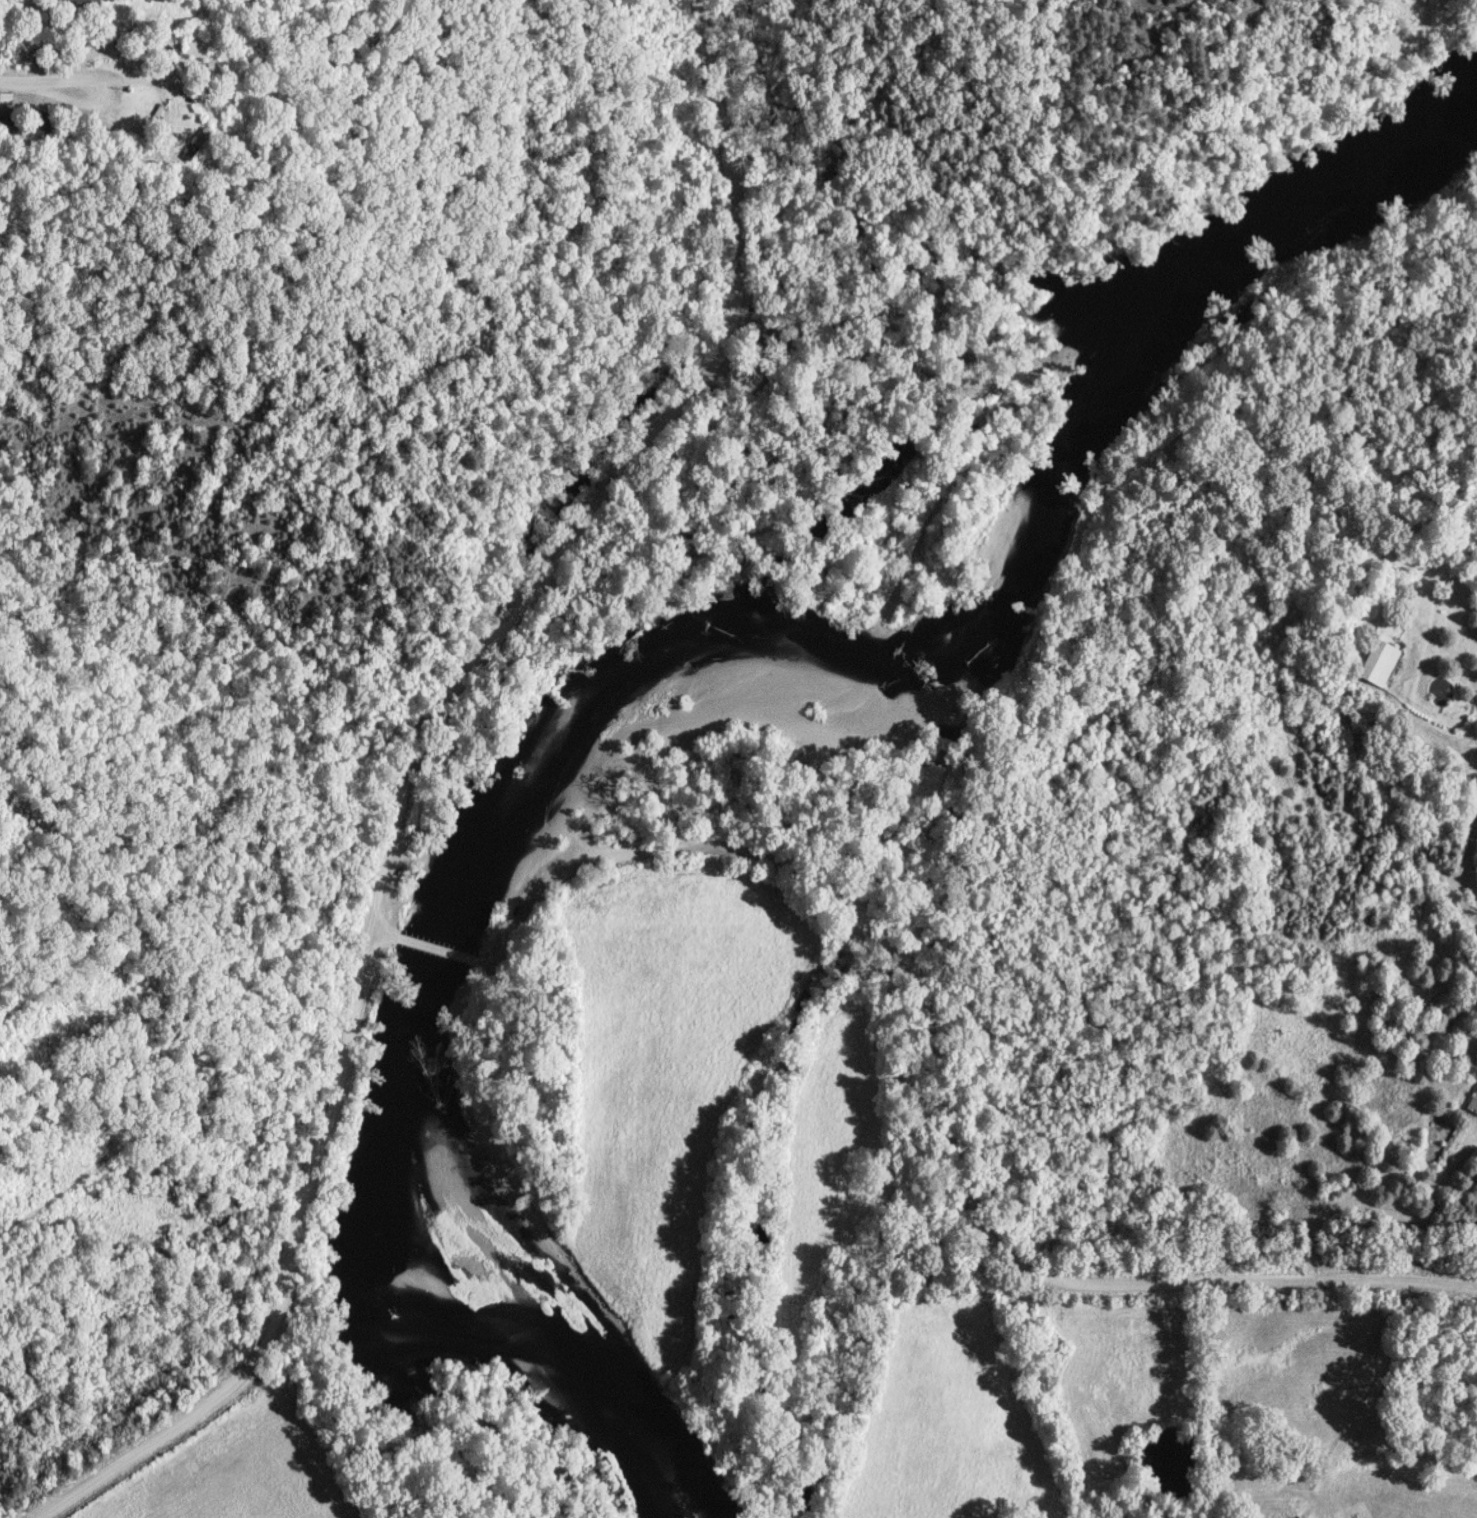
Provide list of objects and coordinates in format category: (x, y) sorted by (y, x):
building: (84, 4)
road: (41, 82)
building: (7, 99)
road: (629, 492)
building: (1381, 663)
river: (688, 675)
road: (1475, 752)
road: (1464, 863)
road: (383, 933)
road: (436, 949)
road: (960, 1085)
building: (1474, 1103)
road: (298, 1270)
road: (1364, 1397)
road: (1185, 1408)

